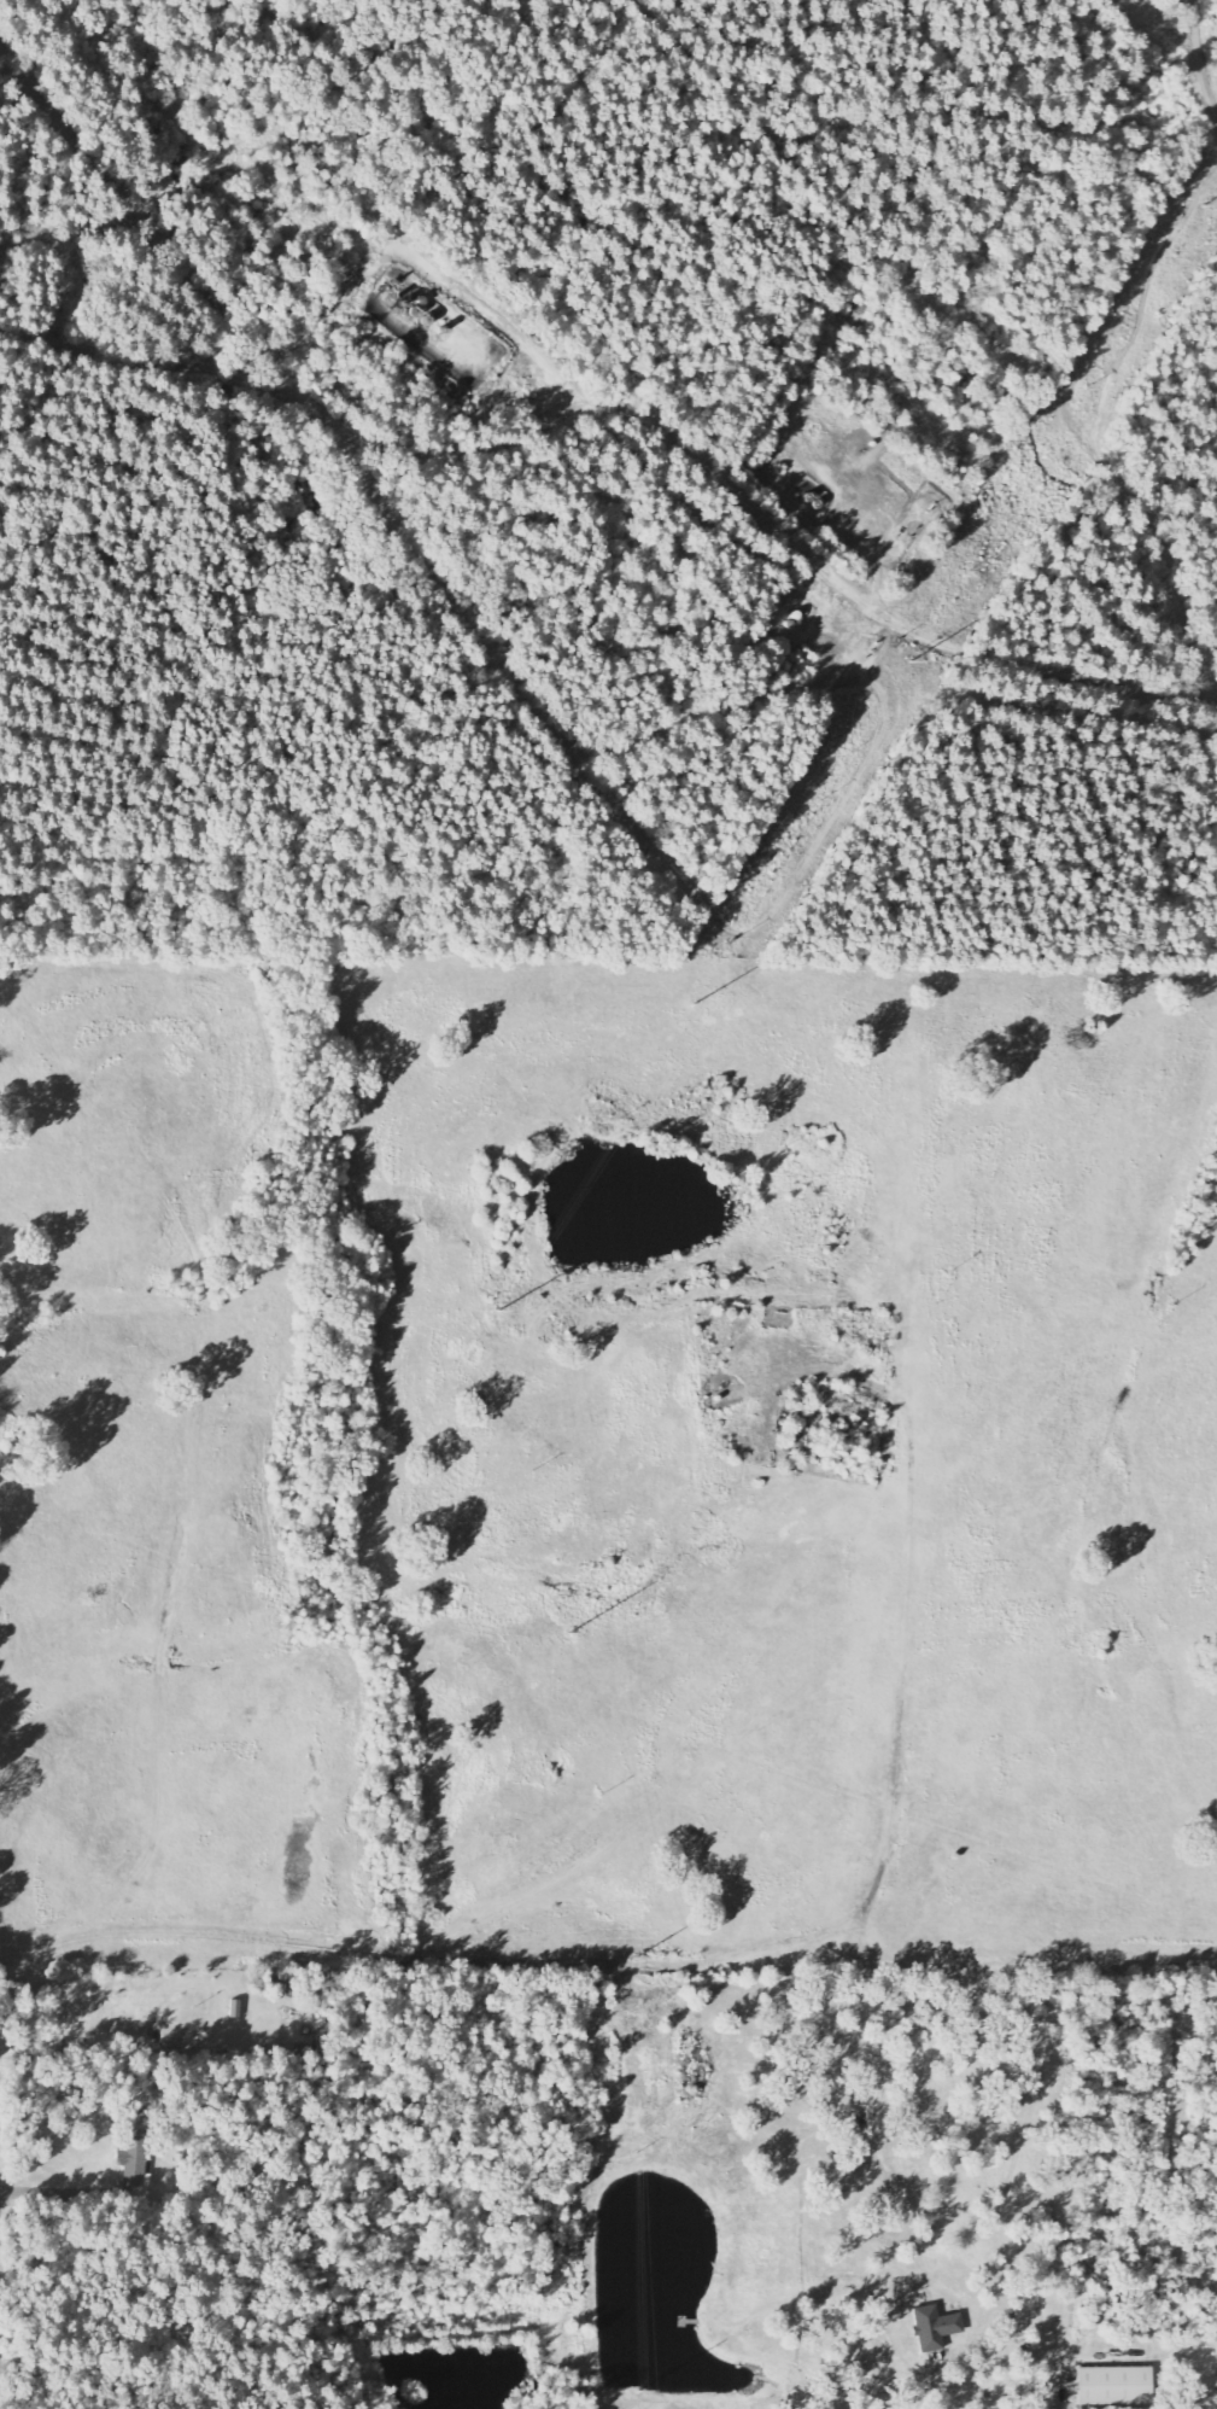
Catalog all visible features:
road: (1200, 54)
power tower: (1206, 205)
power tower: (1086, 392)
road: (636, 414)
road: (1148, 532)
power tower: (912, 661)
power tower: (691, 1003)
power tower: (498, 1310)
power tower: (567, 1634)
road: (733, 1956)
power tower: (634, 1958)
power tower: (637, 2153)
building: (135, 2159)
building: (142, 2192)
building: (935, 2329)
building: (1116, 2387)
power tower: (640, 2392)

